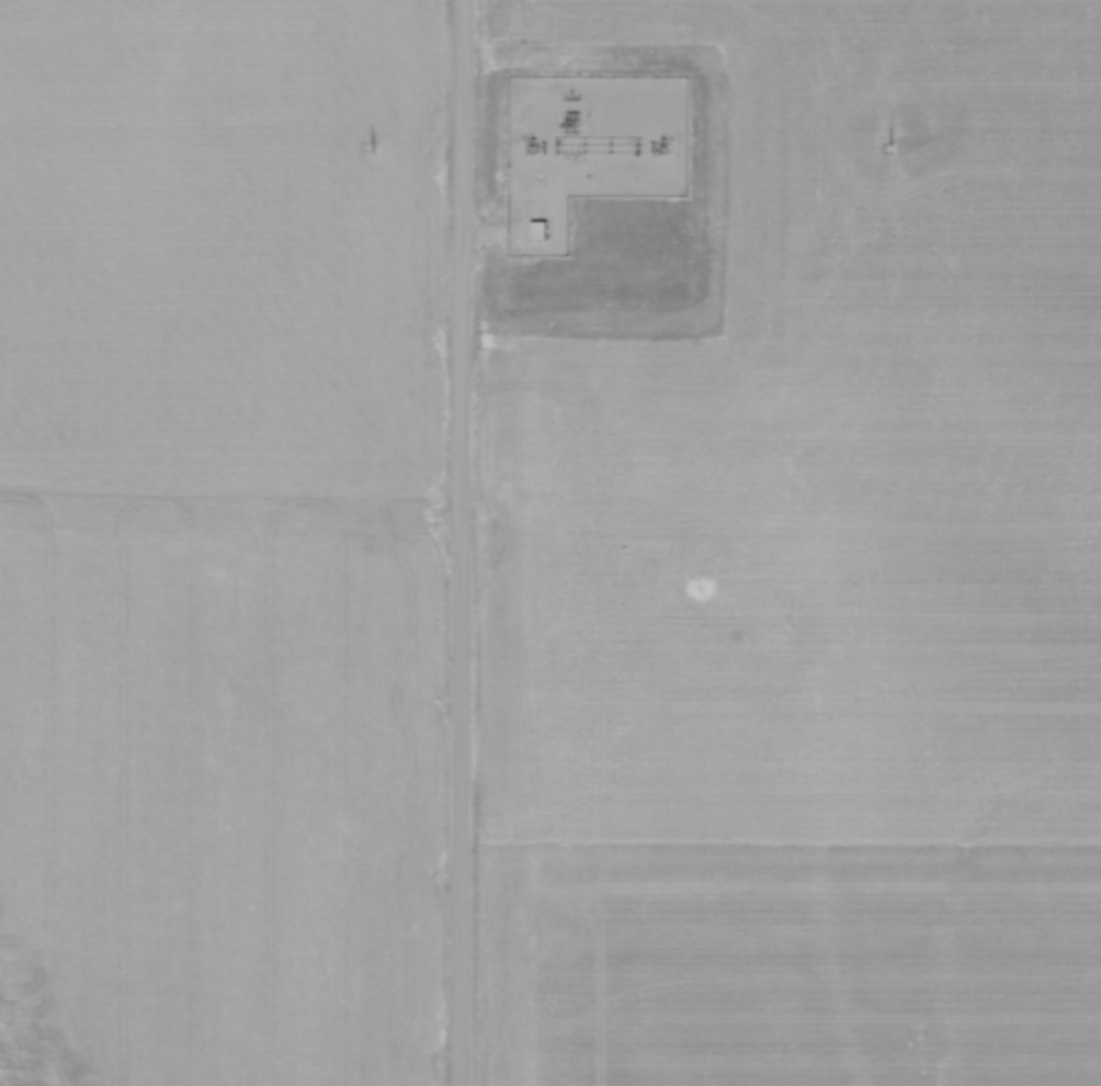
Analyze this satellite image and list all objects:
power tower: (371, 148)
power substation: (587, 149)
power tower: (888, 149)
road: (520, 215)
crop: (219, 543)
road: (459, 543)
crop: (808, 573)

